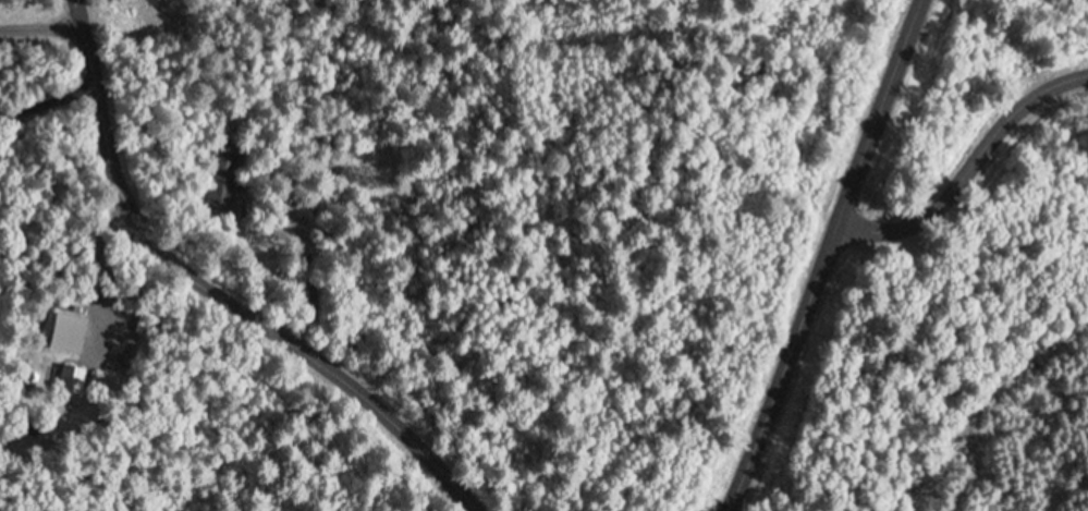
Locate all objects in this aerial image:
road: (47, 36)
road: (51, 101)
road: (970, 175)
road: (831, 255)
park: (978, 269)
road: (217, 295)

